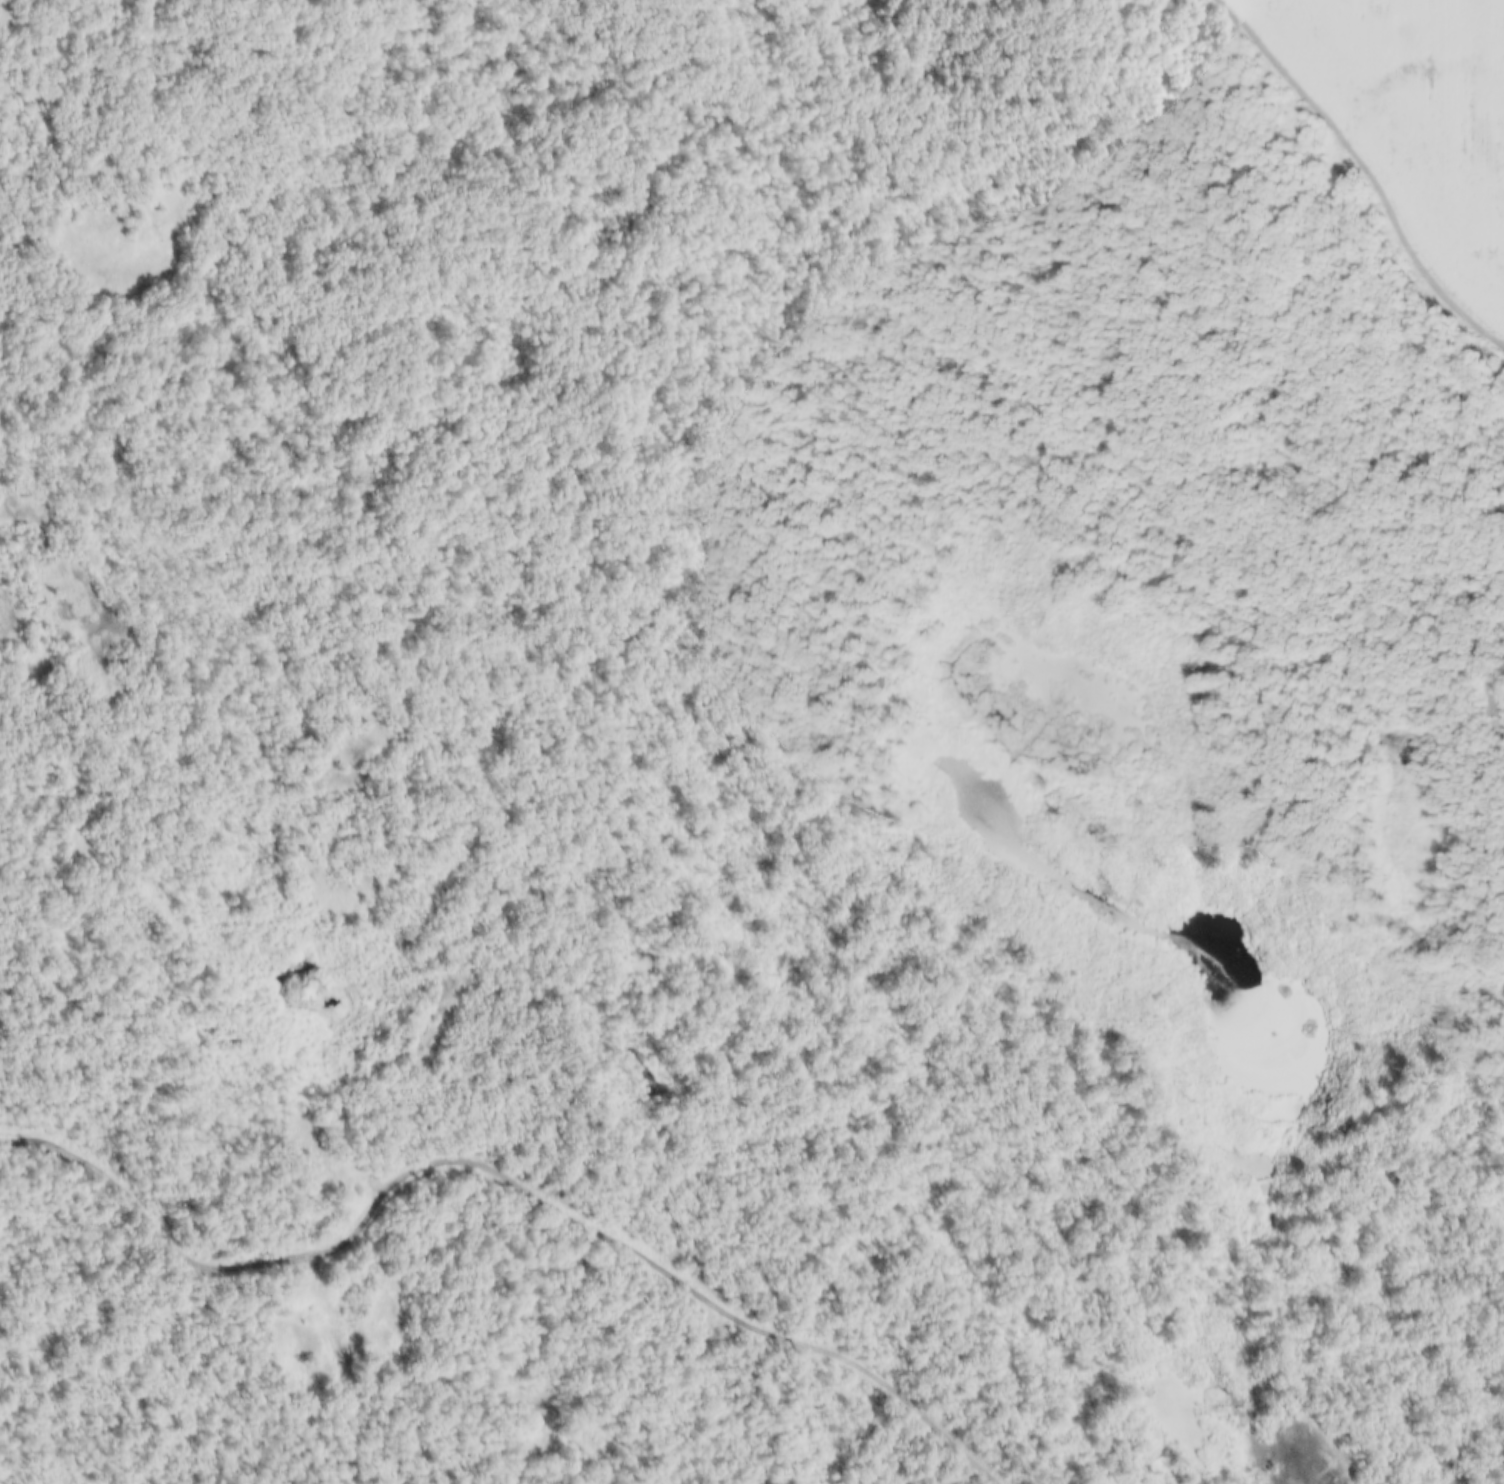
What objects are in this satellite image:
road: (512, 1177)

